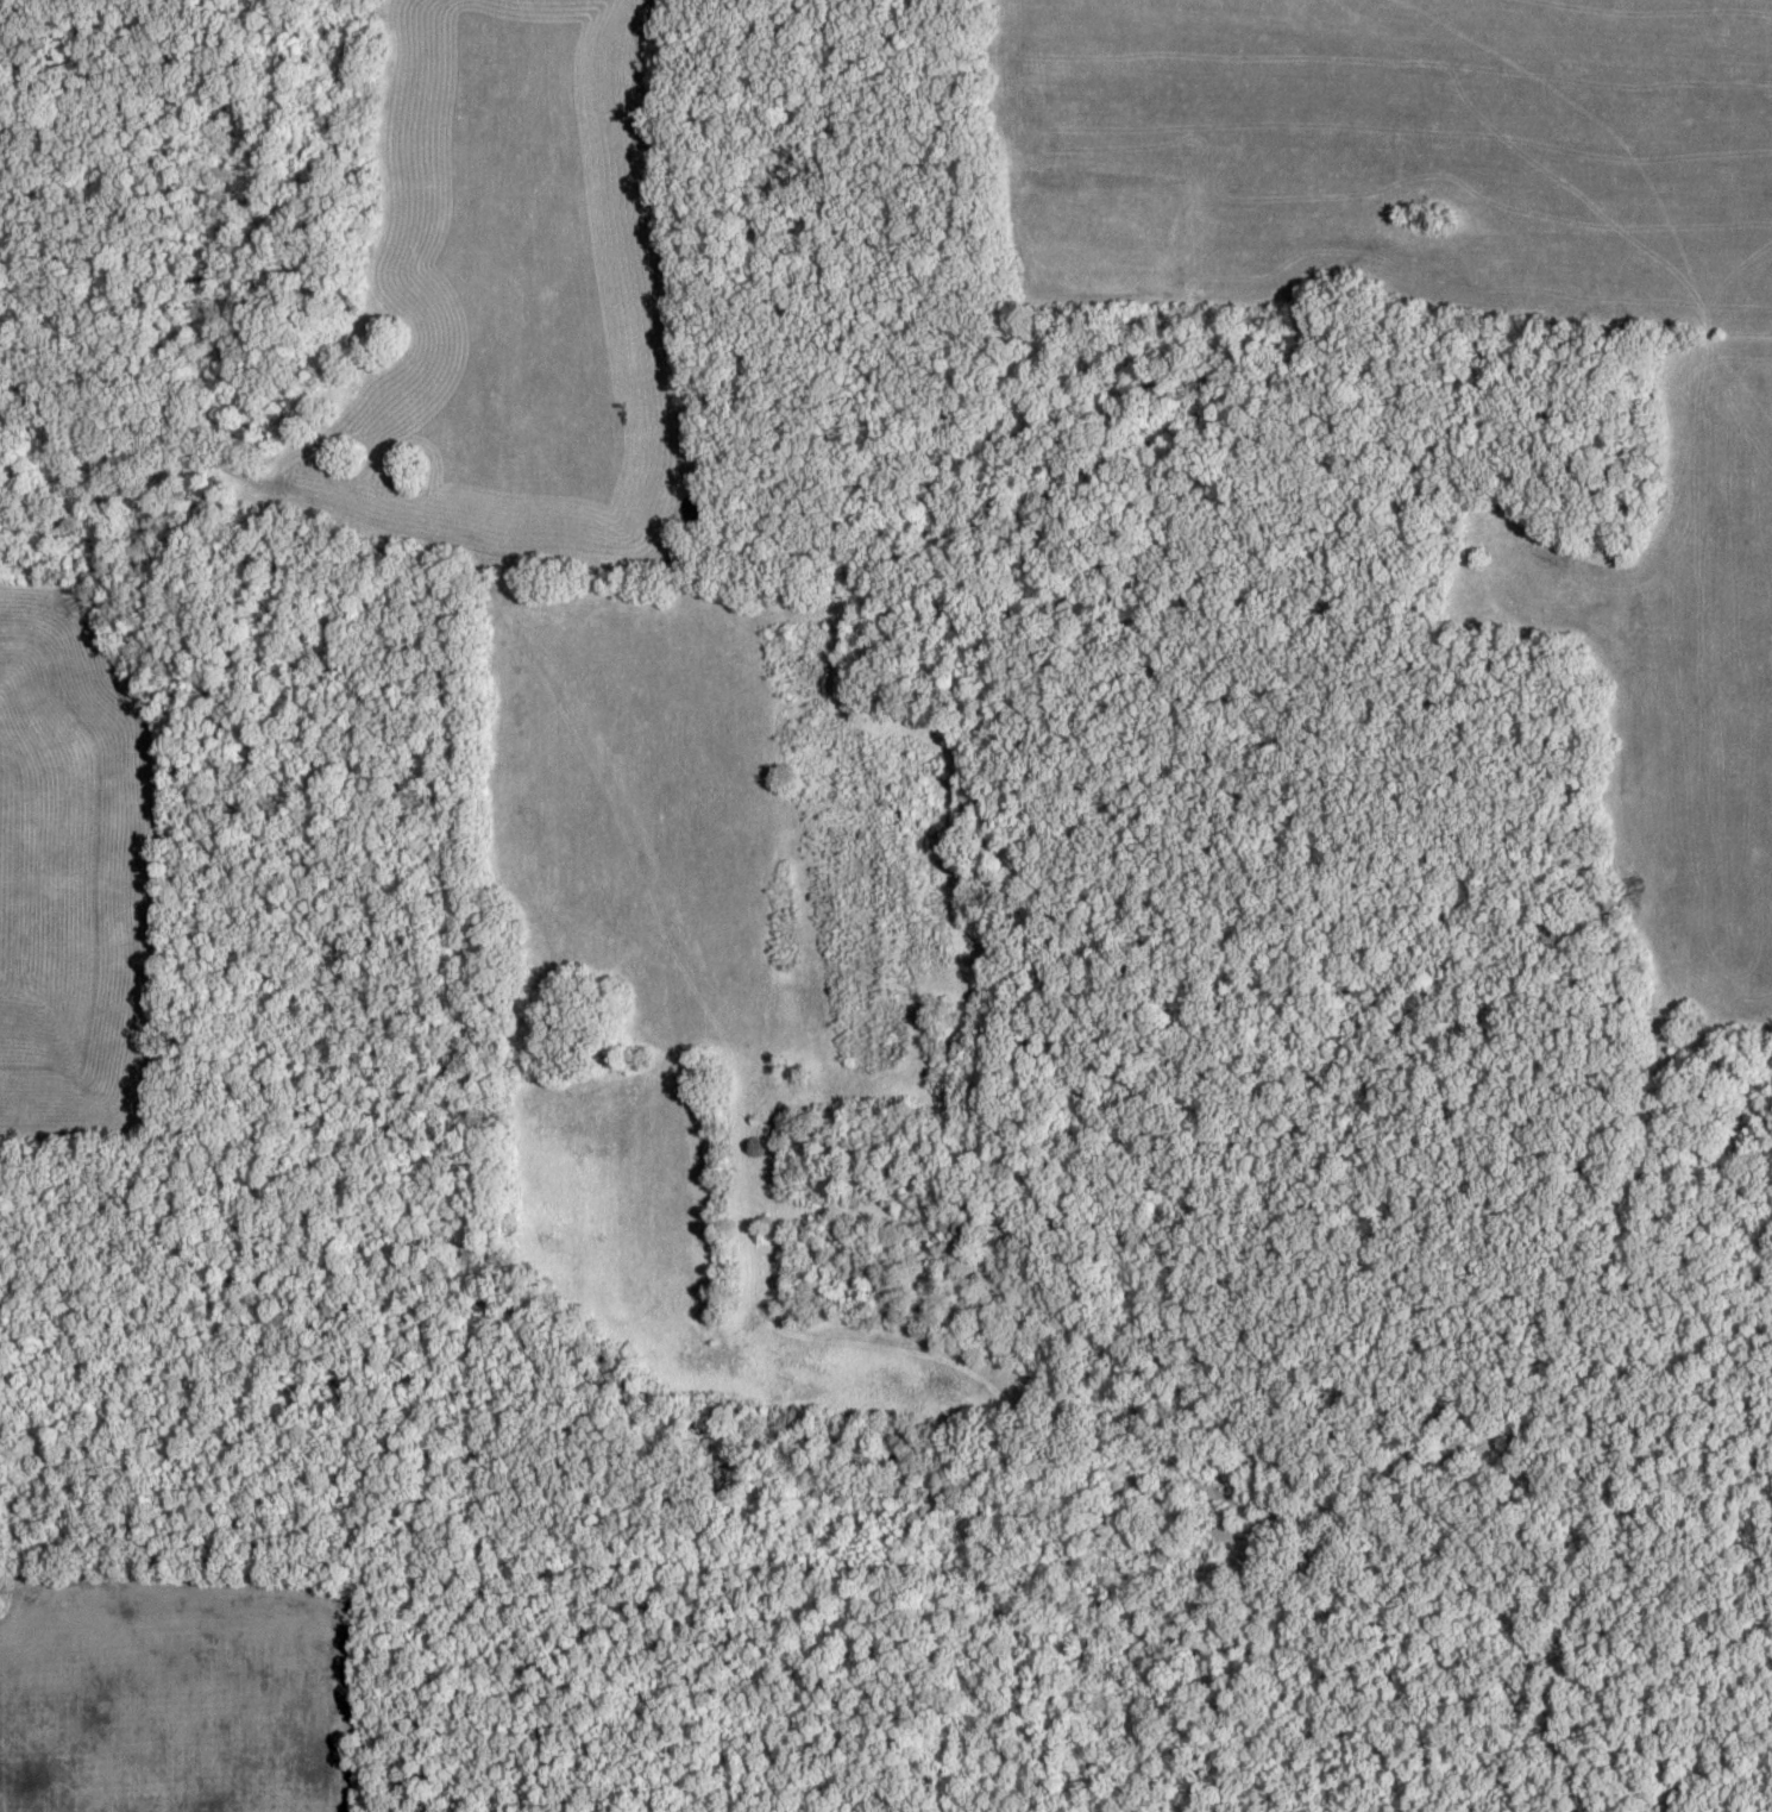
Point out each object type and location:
road: (643, 1509)

